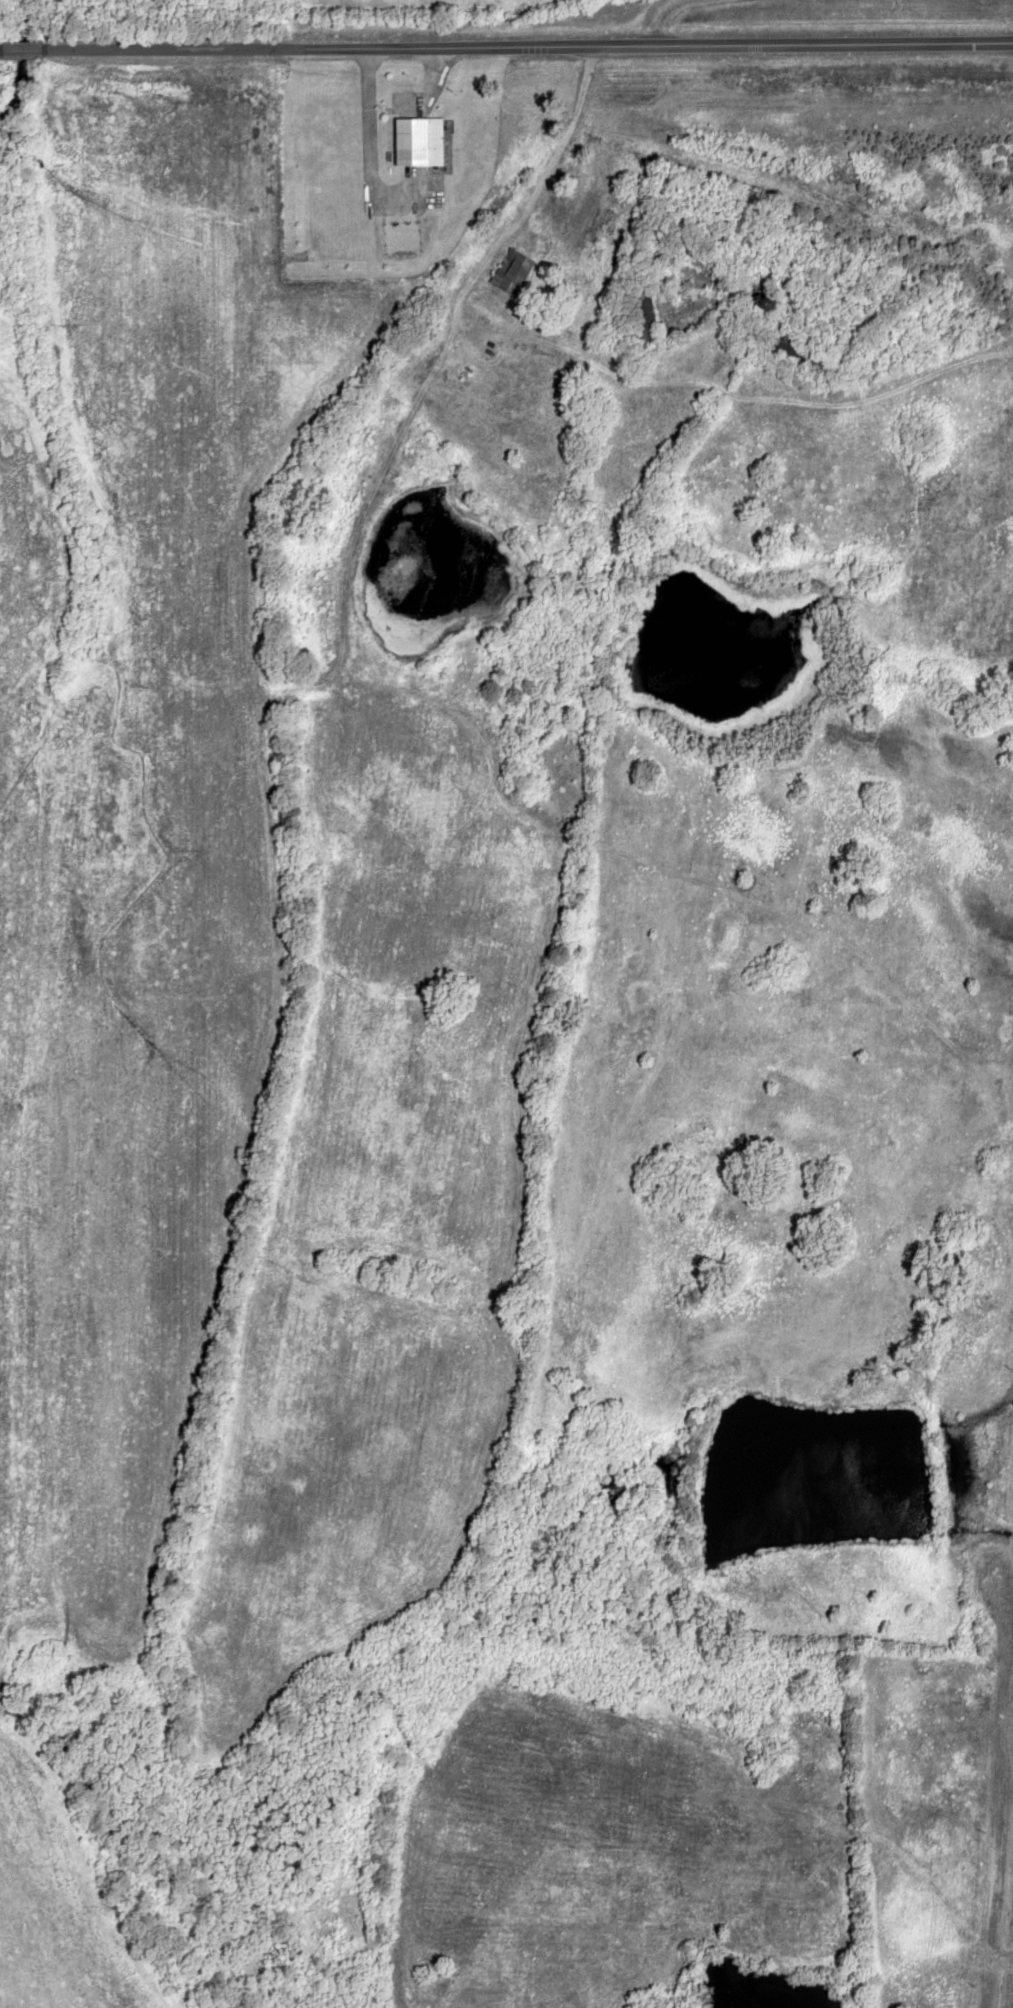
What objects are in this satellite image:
road: (660, 15)
road: (506, 46)
building: (418, 141)
road: (536, 191)
building: (510, 271)
building: (642, 318)

